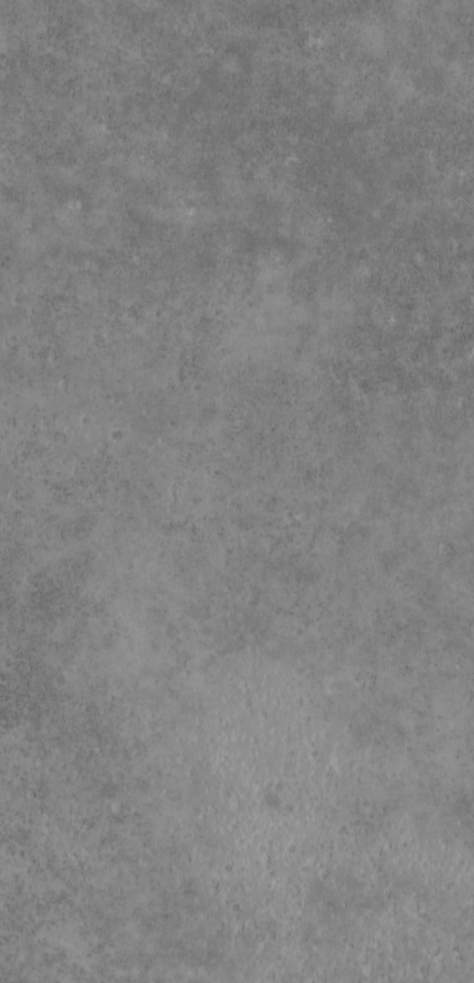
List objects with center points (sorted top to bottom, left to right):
road: (13, 21)

